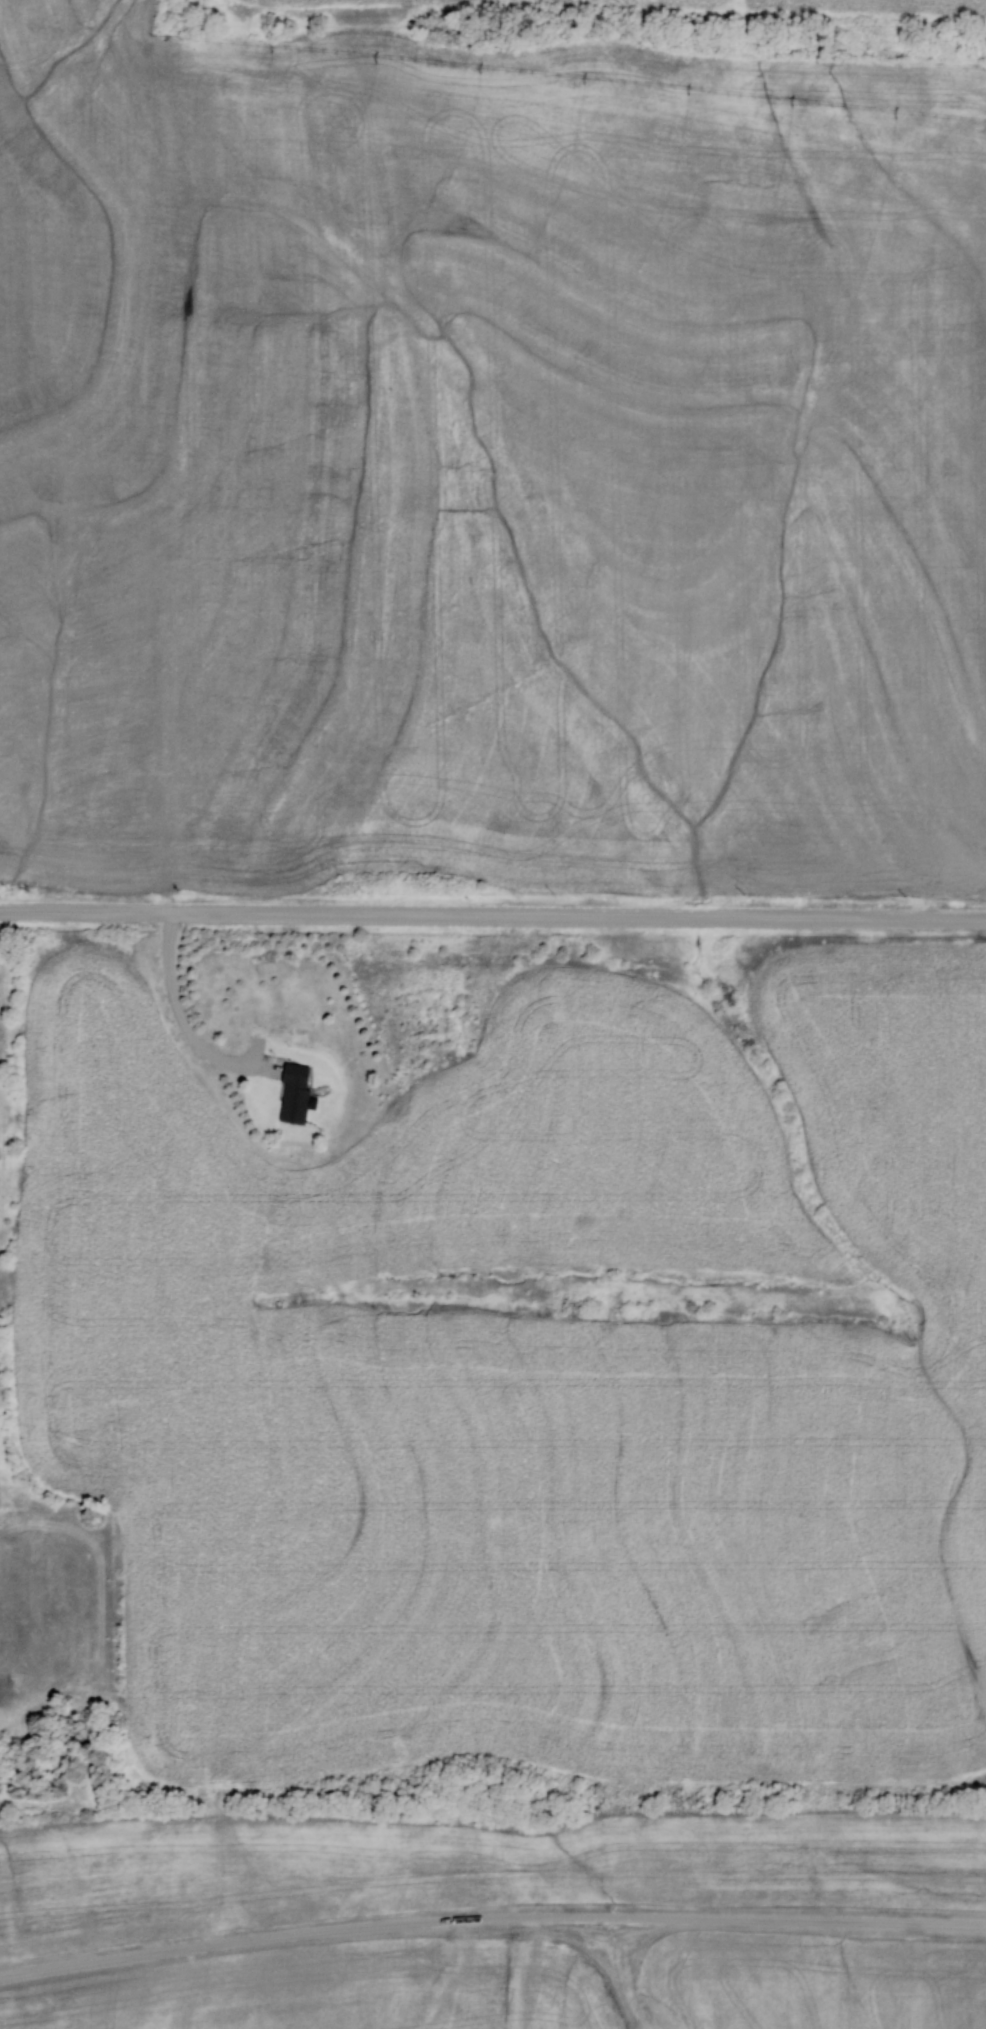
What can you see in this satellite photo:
road: (493, 915)
building: (291, 1092)
road: (491, 1919)

